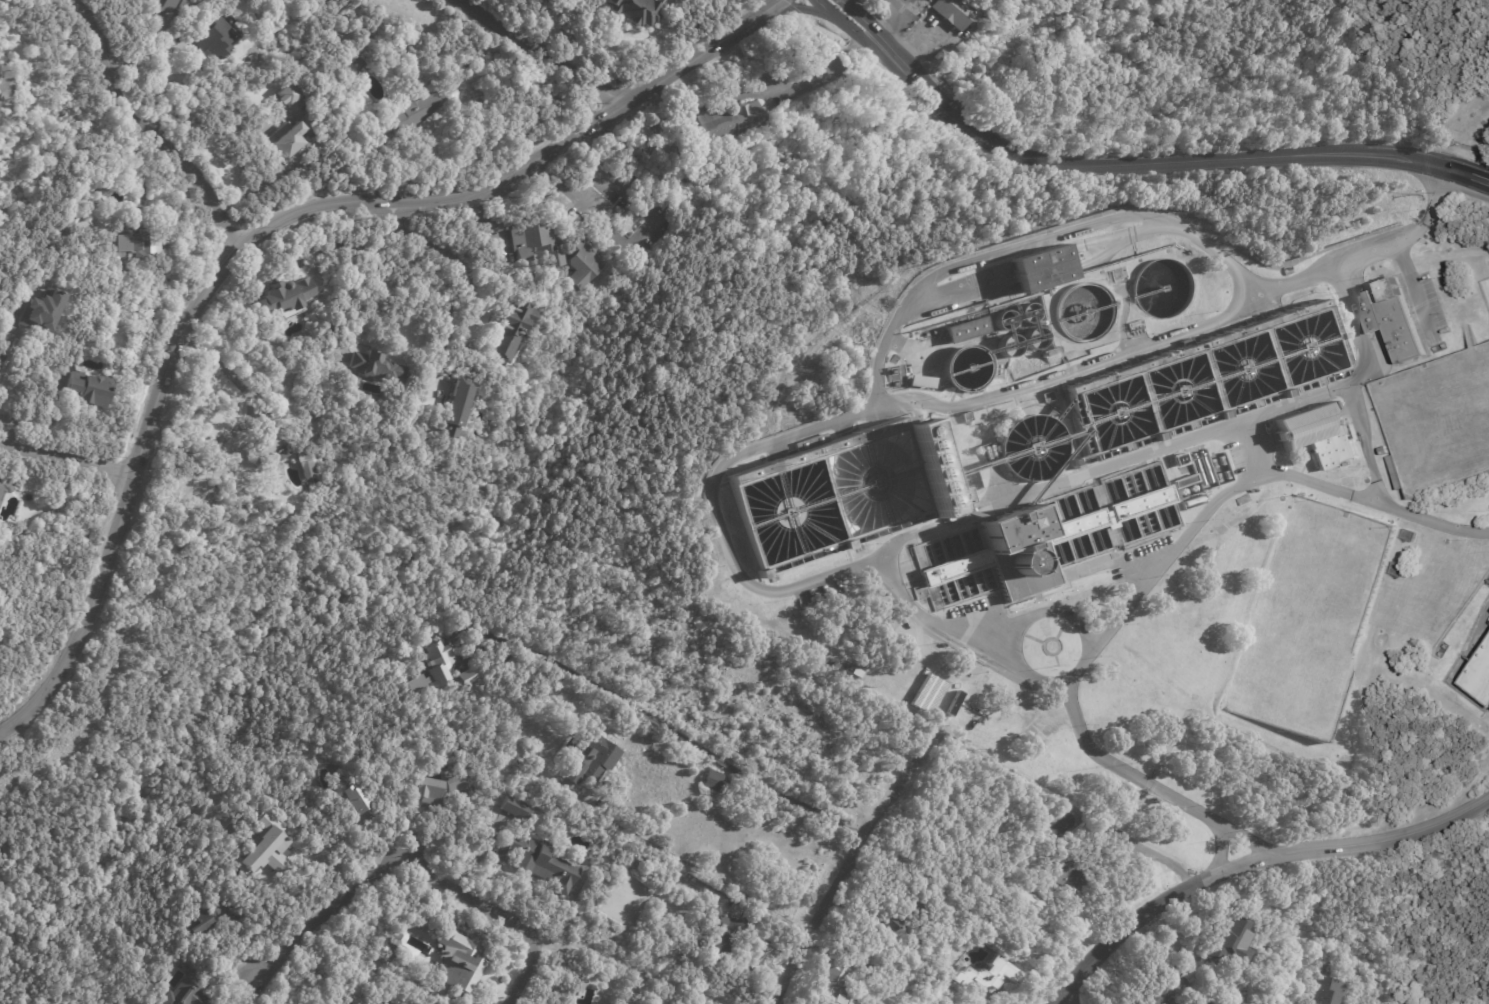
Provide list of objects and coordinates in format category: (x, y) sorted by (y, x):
building: (879, 1)
road: (846, 3)
building: (166, 6)
road: (804, 8)
building: (636, 10)
building: (955, 12)
road: (577, 32)
building: (215, 36)
road: (544, 51)
road: (165, 54)
building: (361, 61)
road: (2, 67)
road: (825, 67)
road: (160, 93)
building: (285, 95)
building: (417, 110)
road: (157, 117)
road: (152, 127)
building: (726, 127)
road: (1465, 131)
building: (287, 140)
road: (1138, 159)
building: (650, 182)
building: (100, 185)
building: (68, 227)
building: (1430, 232)
road: (262, 235)
road: (642, 238)
building: (143, 244)
building: (537, 244)
building: (287, 261)
road: (461, 262)
building: (585, 262)
building: (1040, 263)
road: (387, 274)
building: (284, 299)
building: (44, 311)
building: (1027, 312)
storage tank: (1027, 312)
building: (1394, 318)
building: (1003, 319)
storage tank: (1003, 319)
building: (967, 328)
building: (511, 331)
road: (1359, 334)
building: (1036, 338)
storage tank: (1036, 338)
road: (6, 345)
building: (1010, 346)
storage tank: (1010, 346)
building: (376, 367)
road: (1074, 367)
road: (231, 372)
building: (923, 381)
building: (92, 389)
building: (1048, 396)
building: (455, 409)
building: (967, 416)
road: (12, 426)
building: (1318, 434)
building: (268, 445)
building: (1383, 450)
road: (66, 458)
building: (1181, 458)
building: (305, 466)
building: (930, 469)
building: (1186, 480)
wastewater plant: (1134, 487)
building: (3, 488)
building: (965, 523)
building: (1045, 538)
building: (1487, 582)
road: (753, 583)
building: (809, 646)
building: (434, 669)
building: (1478, 675)
building: (469, 676)
building: (873, 682)
building: (928, 694)
road: (661, 727)
building: (593, 759)
building: (716, 782)
road: (1152, 785)
building: (437, 788)
building: (354, 804)
building: (516, 808)
building: (253, 857)
road: (1250, 857)
road: (419, 860)
road: (690, 861)
building: (537, 862)
road: (843, 863)
building: (1076, 871)
building: (667, 885)
building: (1020, 891)
building: (203, 920)
building: (904, 923)
building: (427, 925)
building: (719, 933)
building: (1232, 939)
building: (458, 961)
building: (988, 975)
building: (836, 985)
building: (1322, 985)
building: (361, 988)
building: (1166, 991)
building: (574, 992)
road: (1384, 992)
building: (185, 993)
road: (1069, 998)

